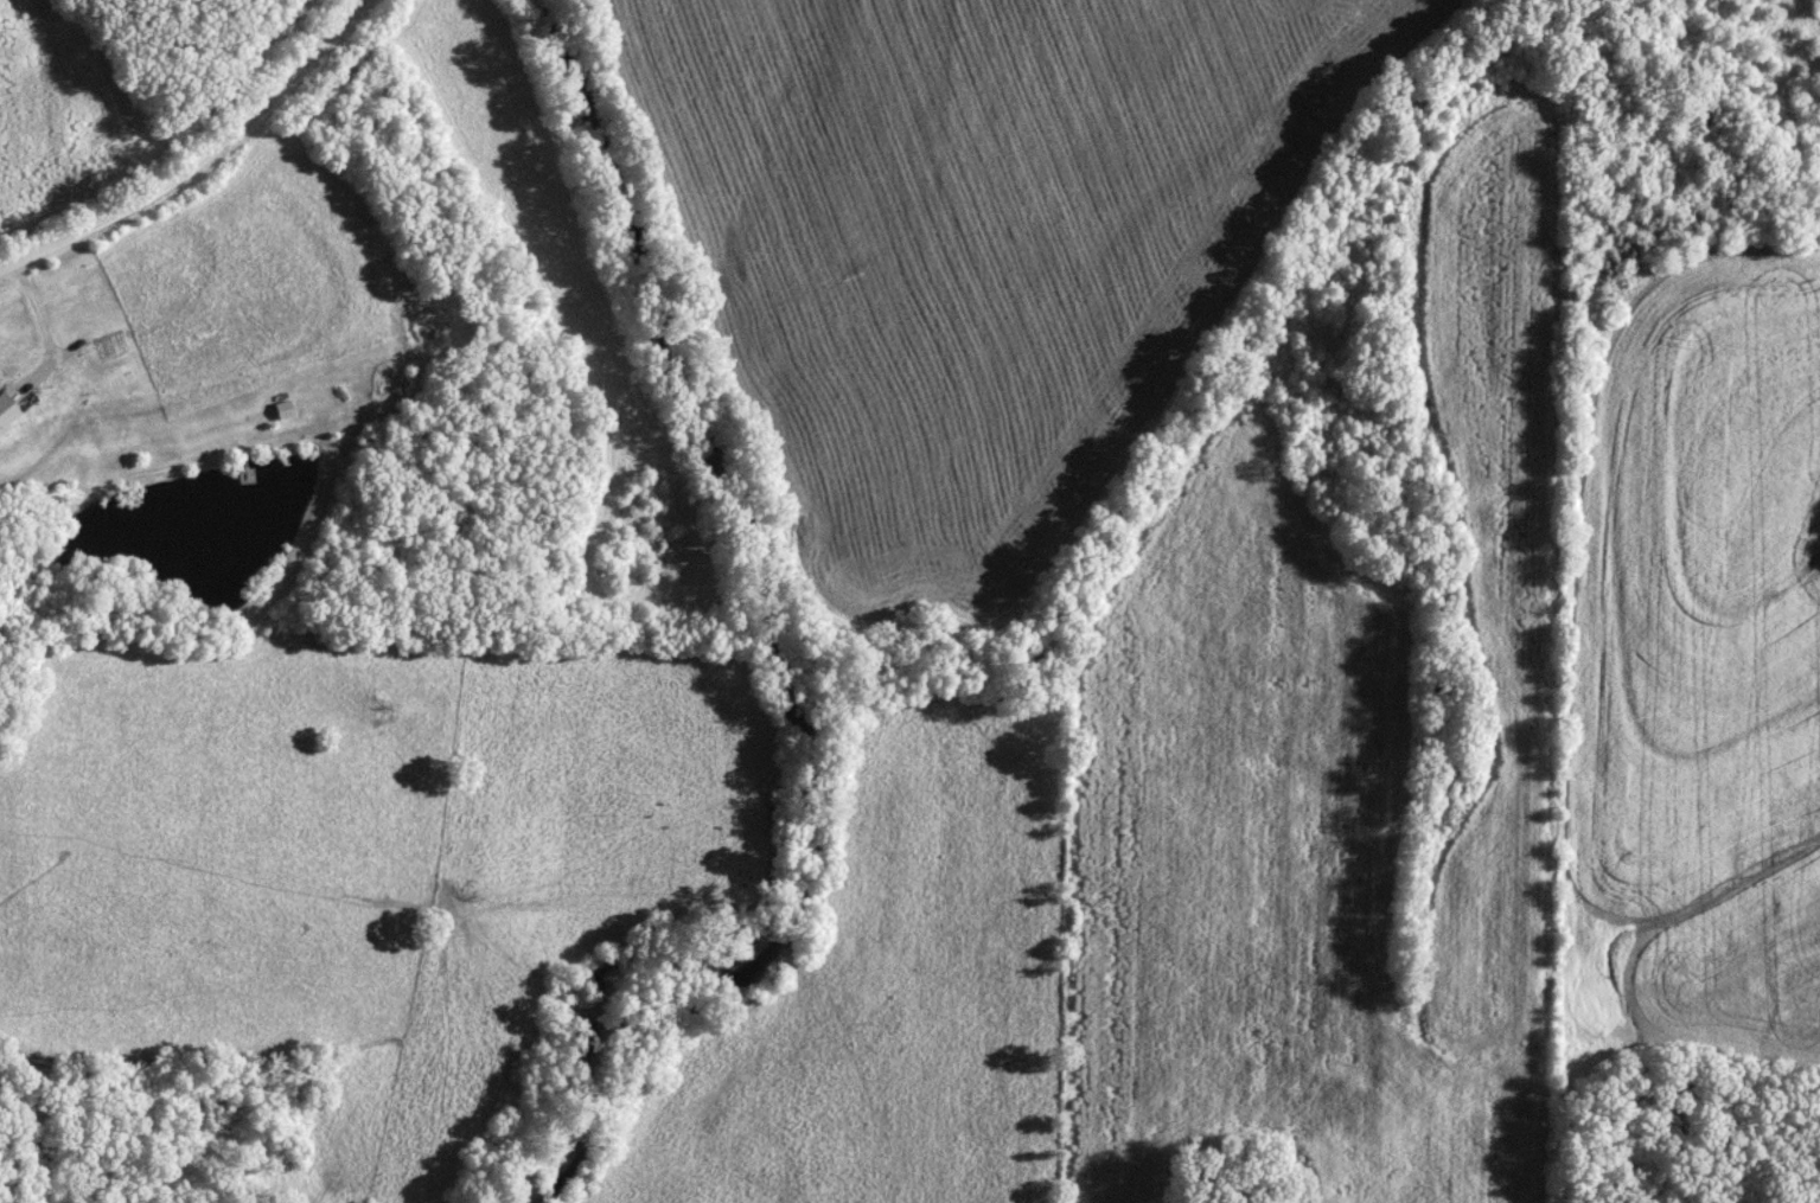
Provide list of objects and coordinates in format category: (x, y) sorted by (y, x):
road: (199, 160)
building: (280, 410)

